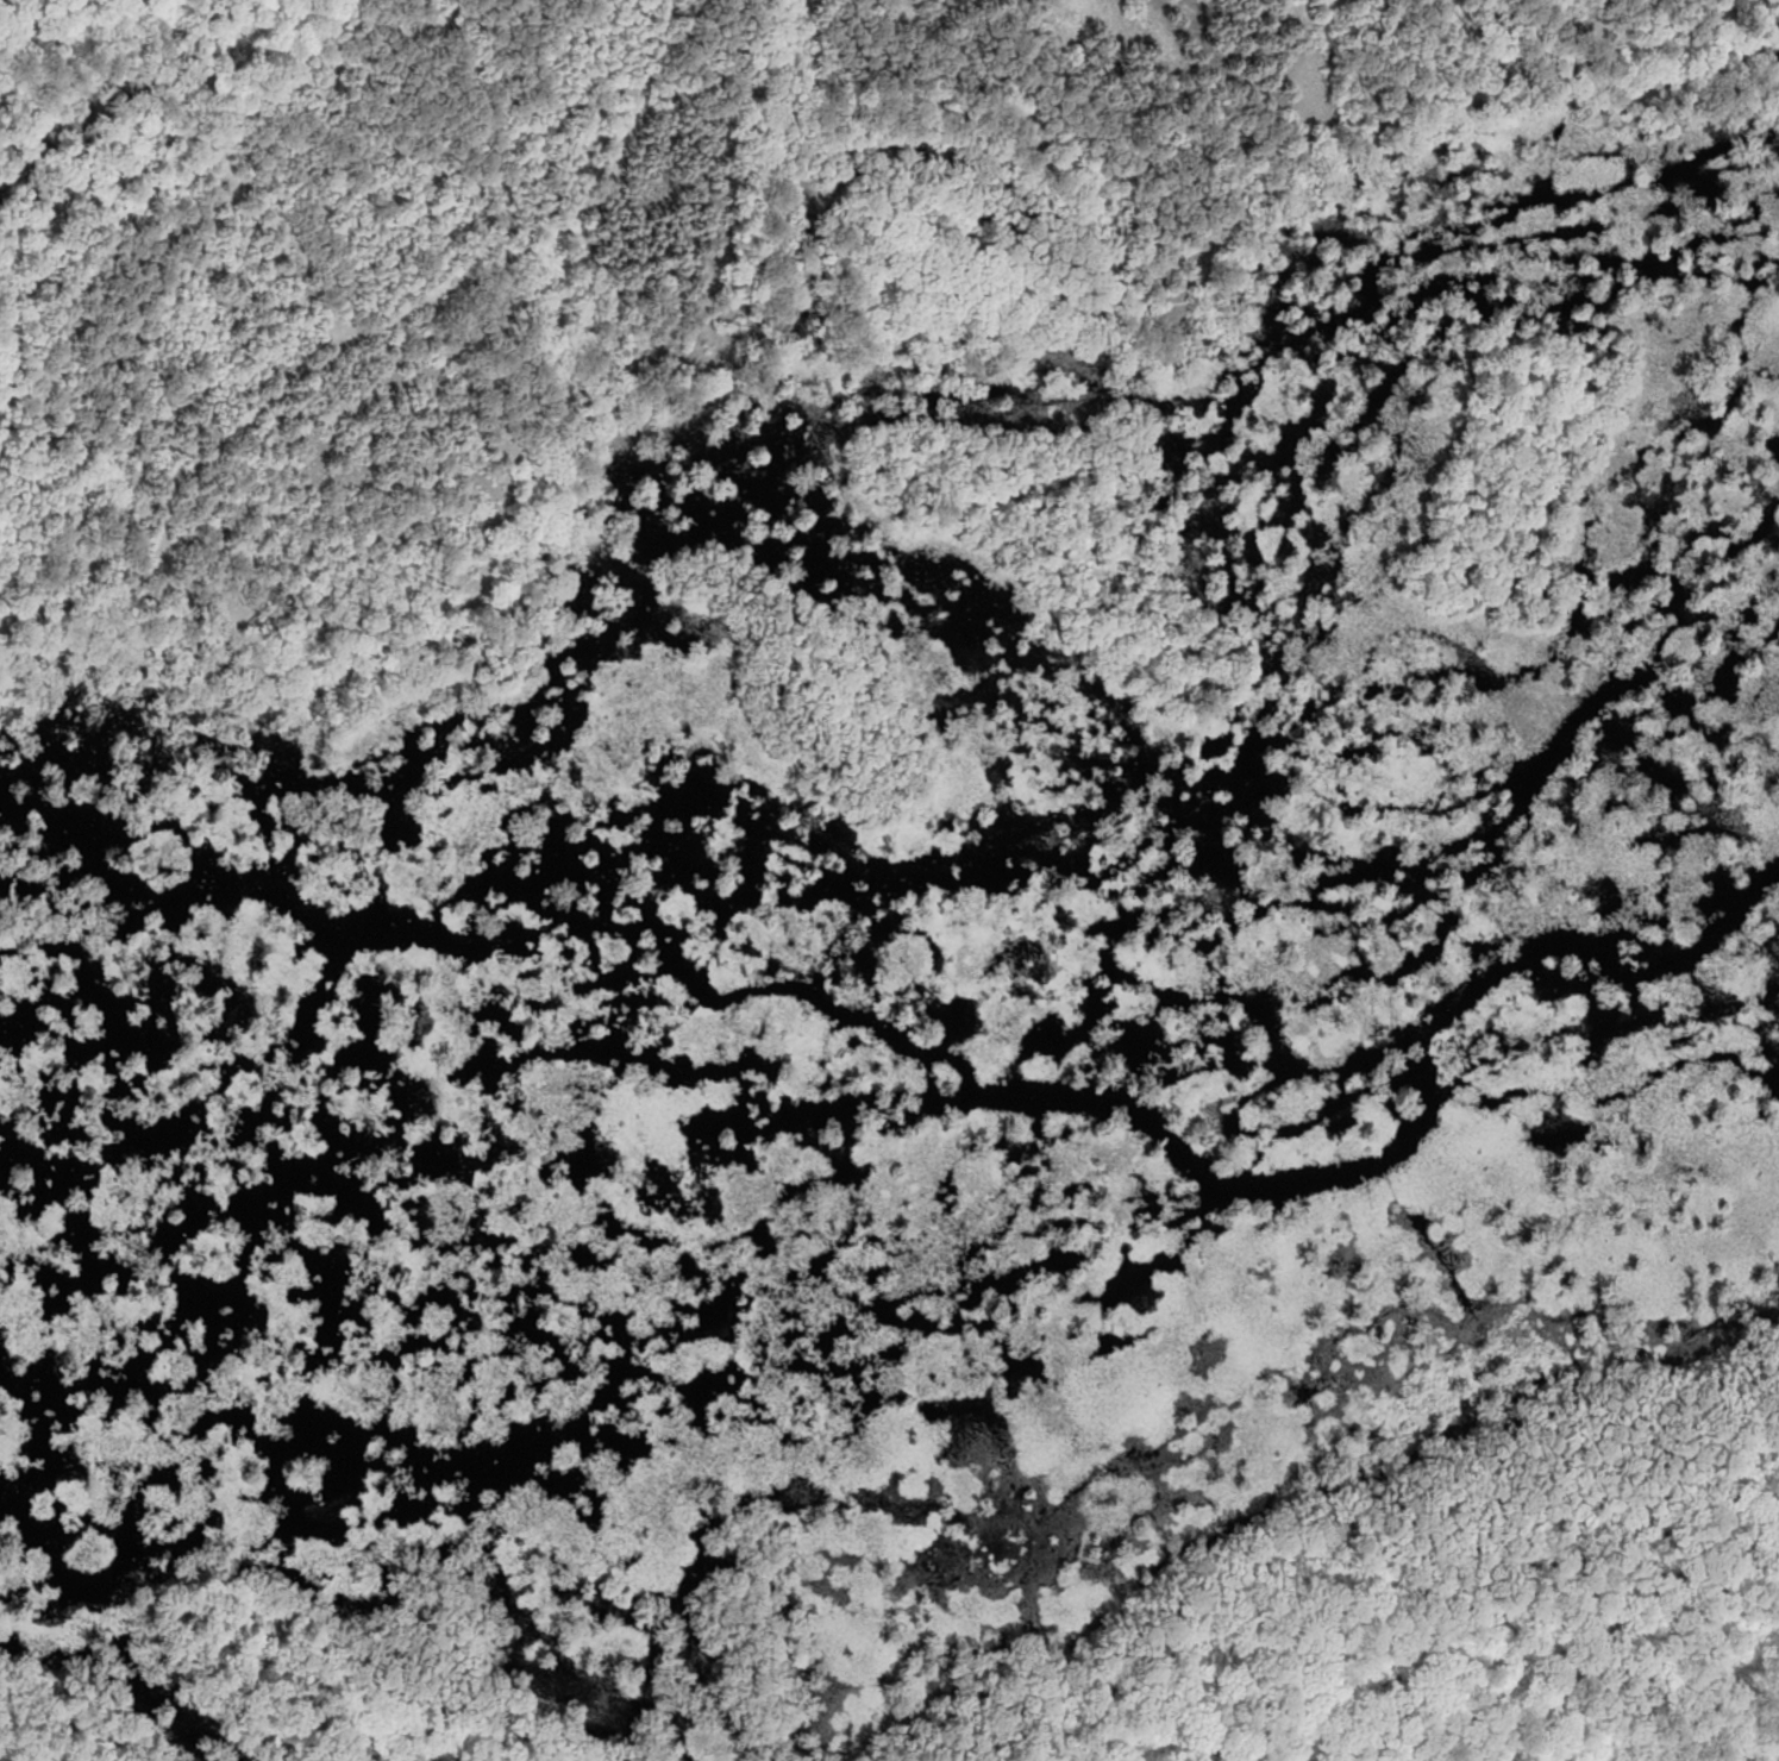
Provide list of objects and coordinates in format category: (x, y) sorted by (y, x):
road: (105, 32)
road: (49, 61)
road: (132, 92)
building: (221, 189)
road: (276, 219)
road: (407, 313)
park: (889, 880)

